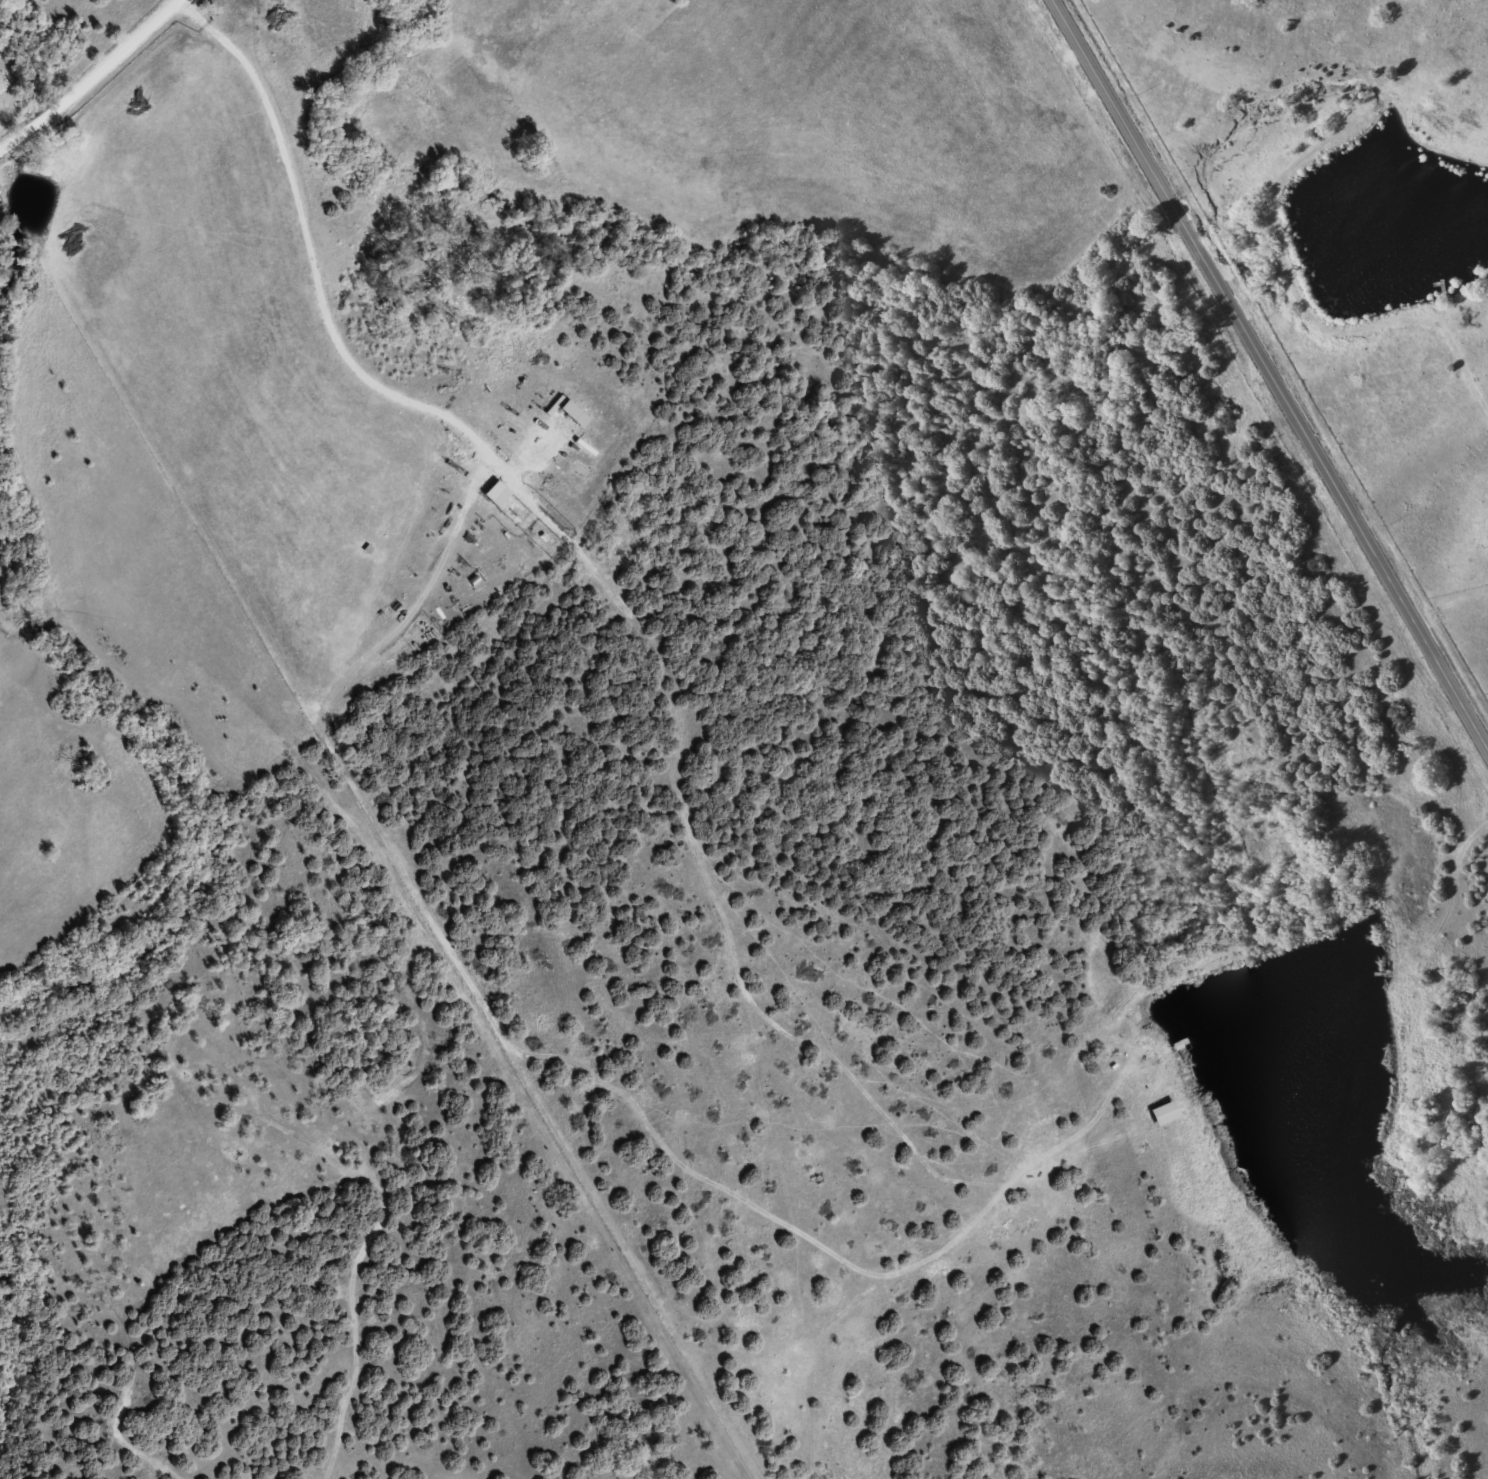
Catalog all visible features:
road: (95, 82)
road: (1275, 365)

